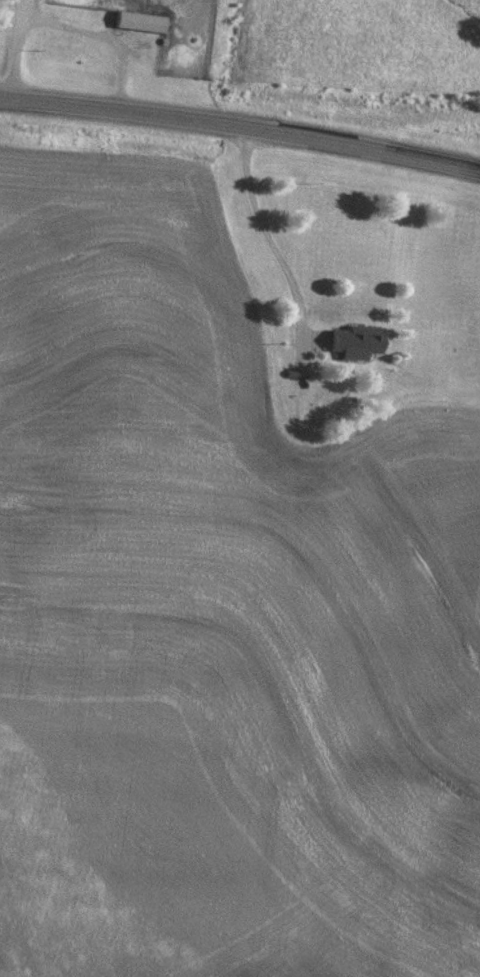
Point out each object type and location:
building: (138, 21)
road: (16, 50)
road: (241, 129)
road: (276, 250)
building: (353, 342)

